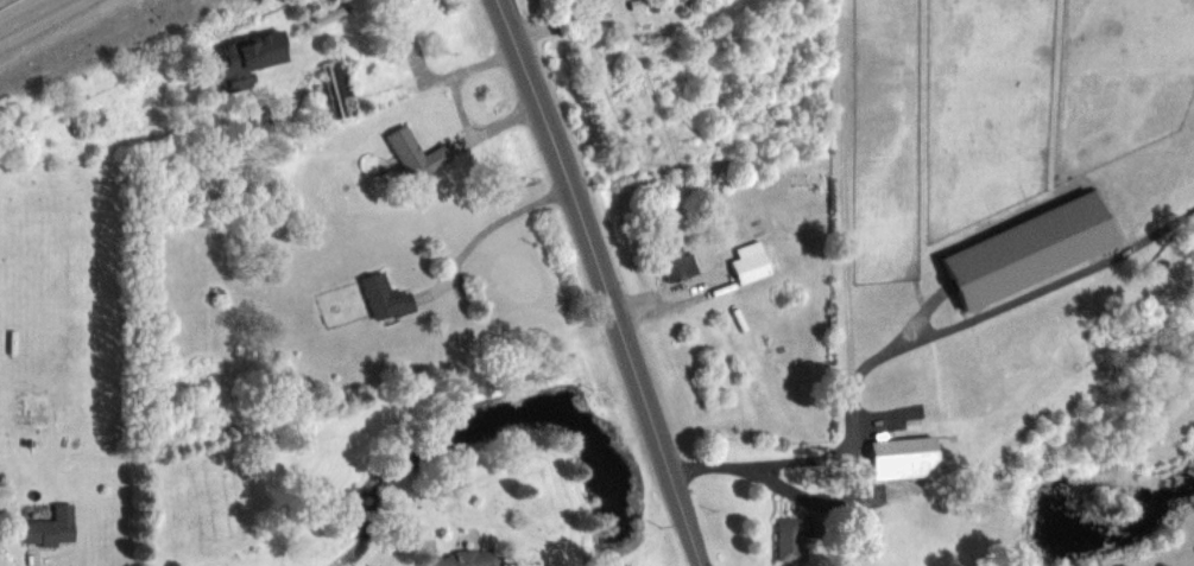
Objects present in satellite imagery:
road: (31, 15)
building: (247, 58)
building: (337, 88)
building: (416, 153)
road: (488, 225)
building: (1026, 249)
building: (675, 261)
building: (748, 266)
road: (604, 281)
building: (385, 297)
road: (909, 346)
building: (903, 458)
building: (50, 526)
building: (788, 539)
building: (457, 558)

